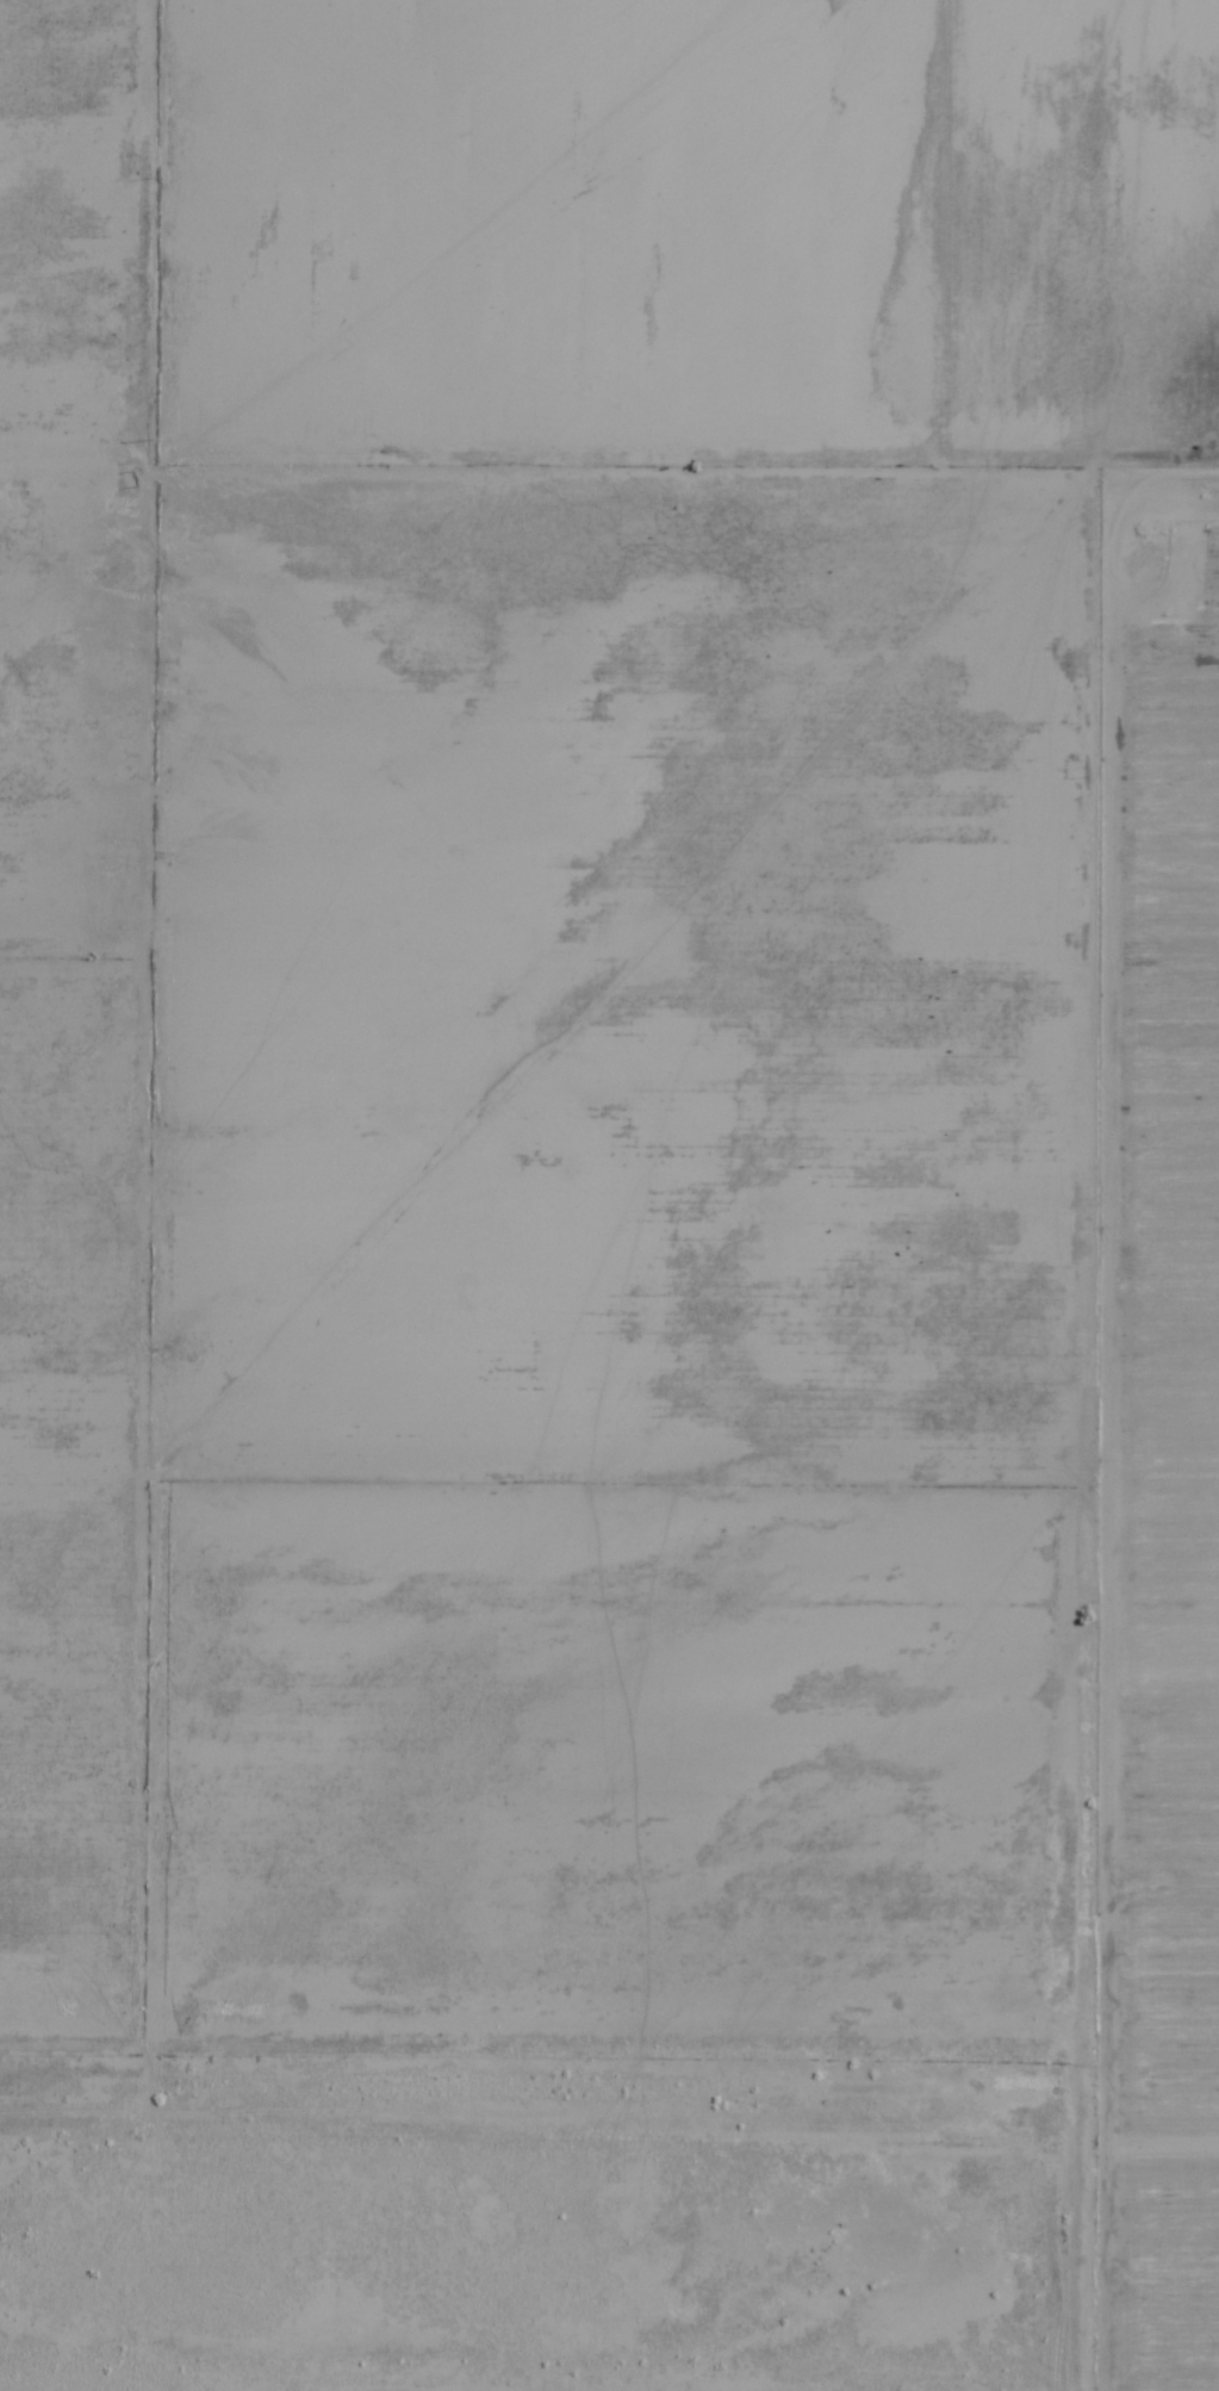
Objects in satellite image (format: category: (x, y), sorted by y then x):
road: (1089, 2248)

